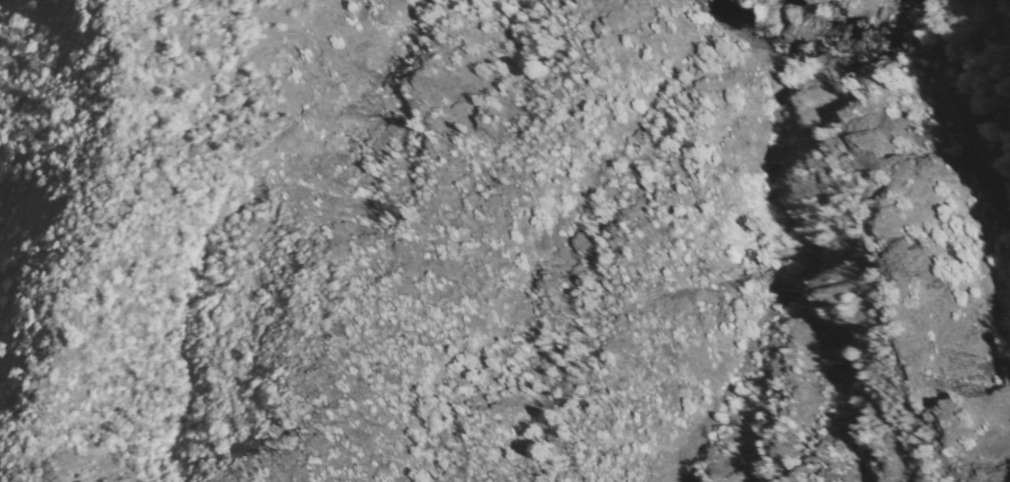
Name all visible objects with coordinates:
river: (791, 49)

